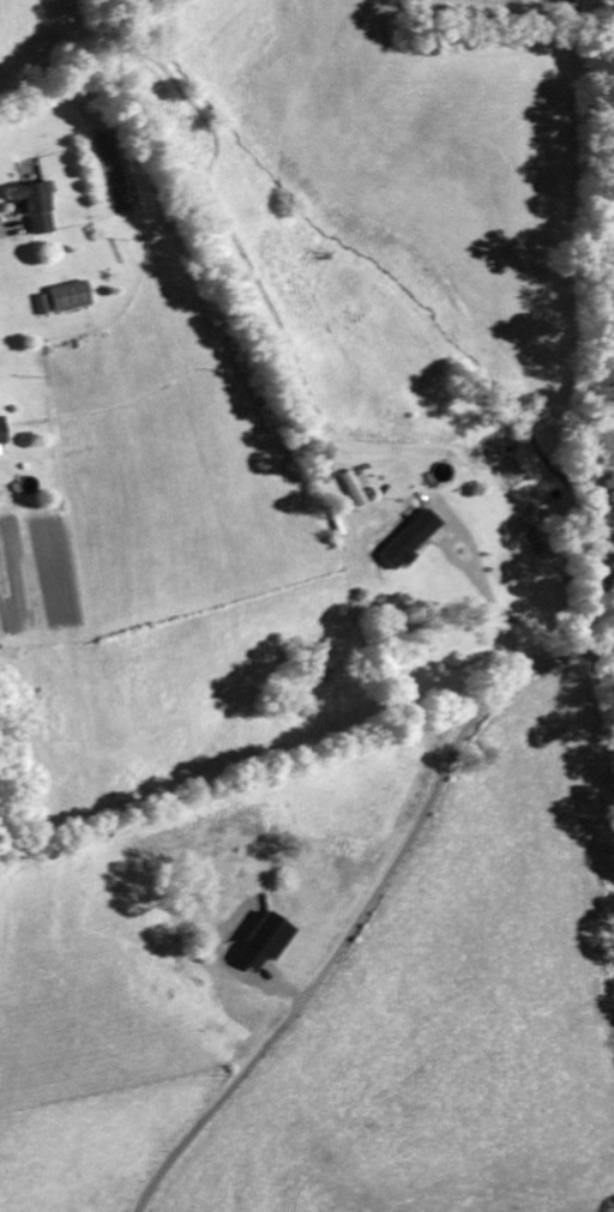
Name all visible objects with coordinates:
building: (35, 210)
building: (72, 300)
building: (44, 308)
building: (4, 433)
building: (357, 489)
building: (413, 541)
road: (363, 910)
building: (267, 936)

